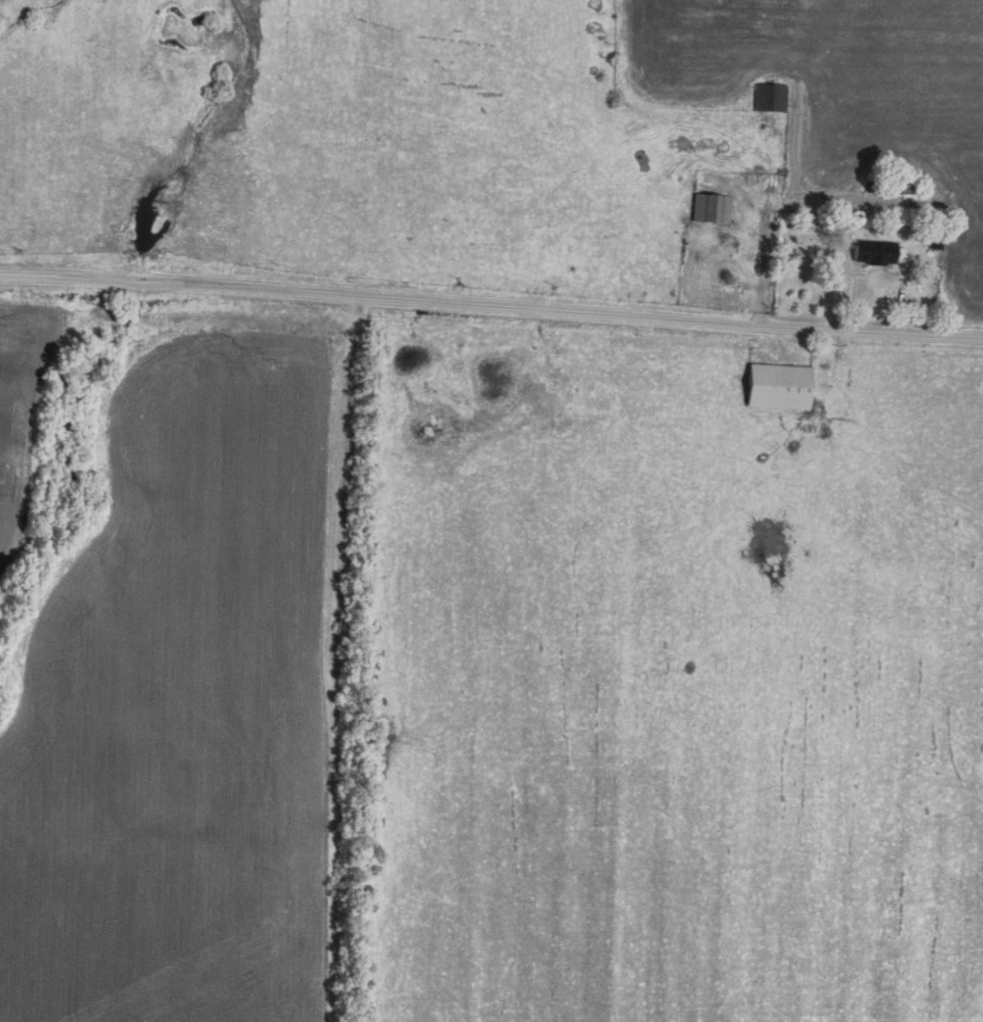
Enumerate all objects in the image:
building: (770, 98)
building: (712, 209)
building: (872, 253)
road: (491, 291)
building: (777, 387)

